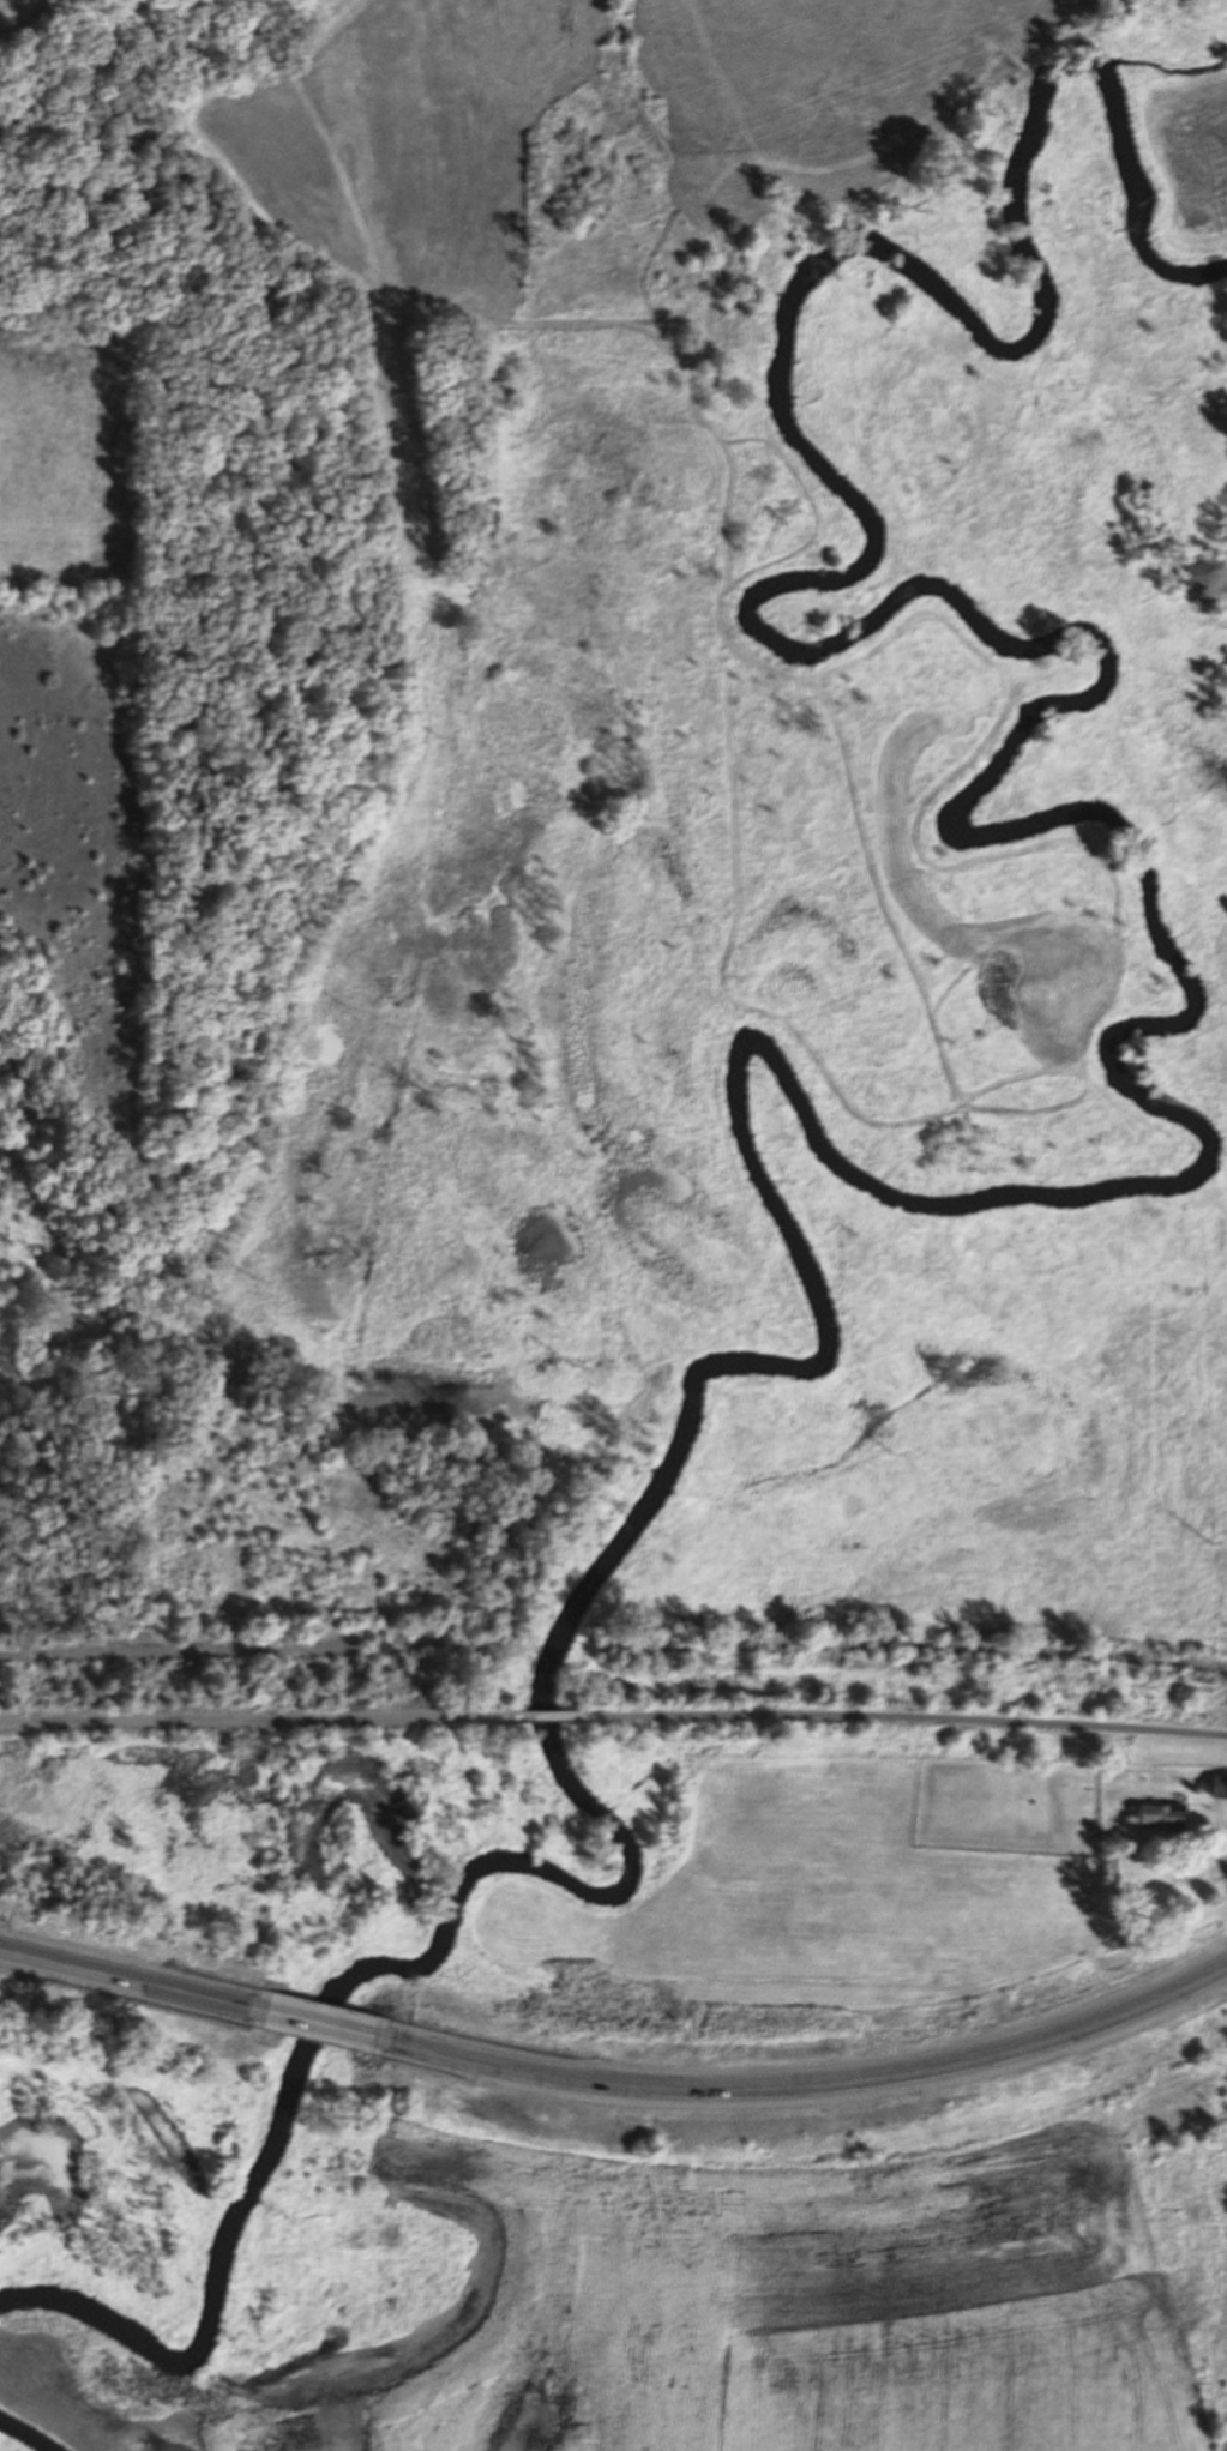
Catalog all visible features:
road: (170, 1650)
road: (940, 1651)
road: (552, 1716)
road: (910, 1720)
road: (254, 1723)
building: (1215, 1784)
building: (1161, 1821)
road: (1226, 1849)
road: (128, 1983)
road: (323, 2028)
road: (813, 2082)

